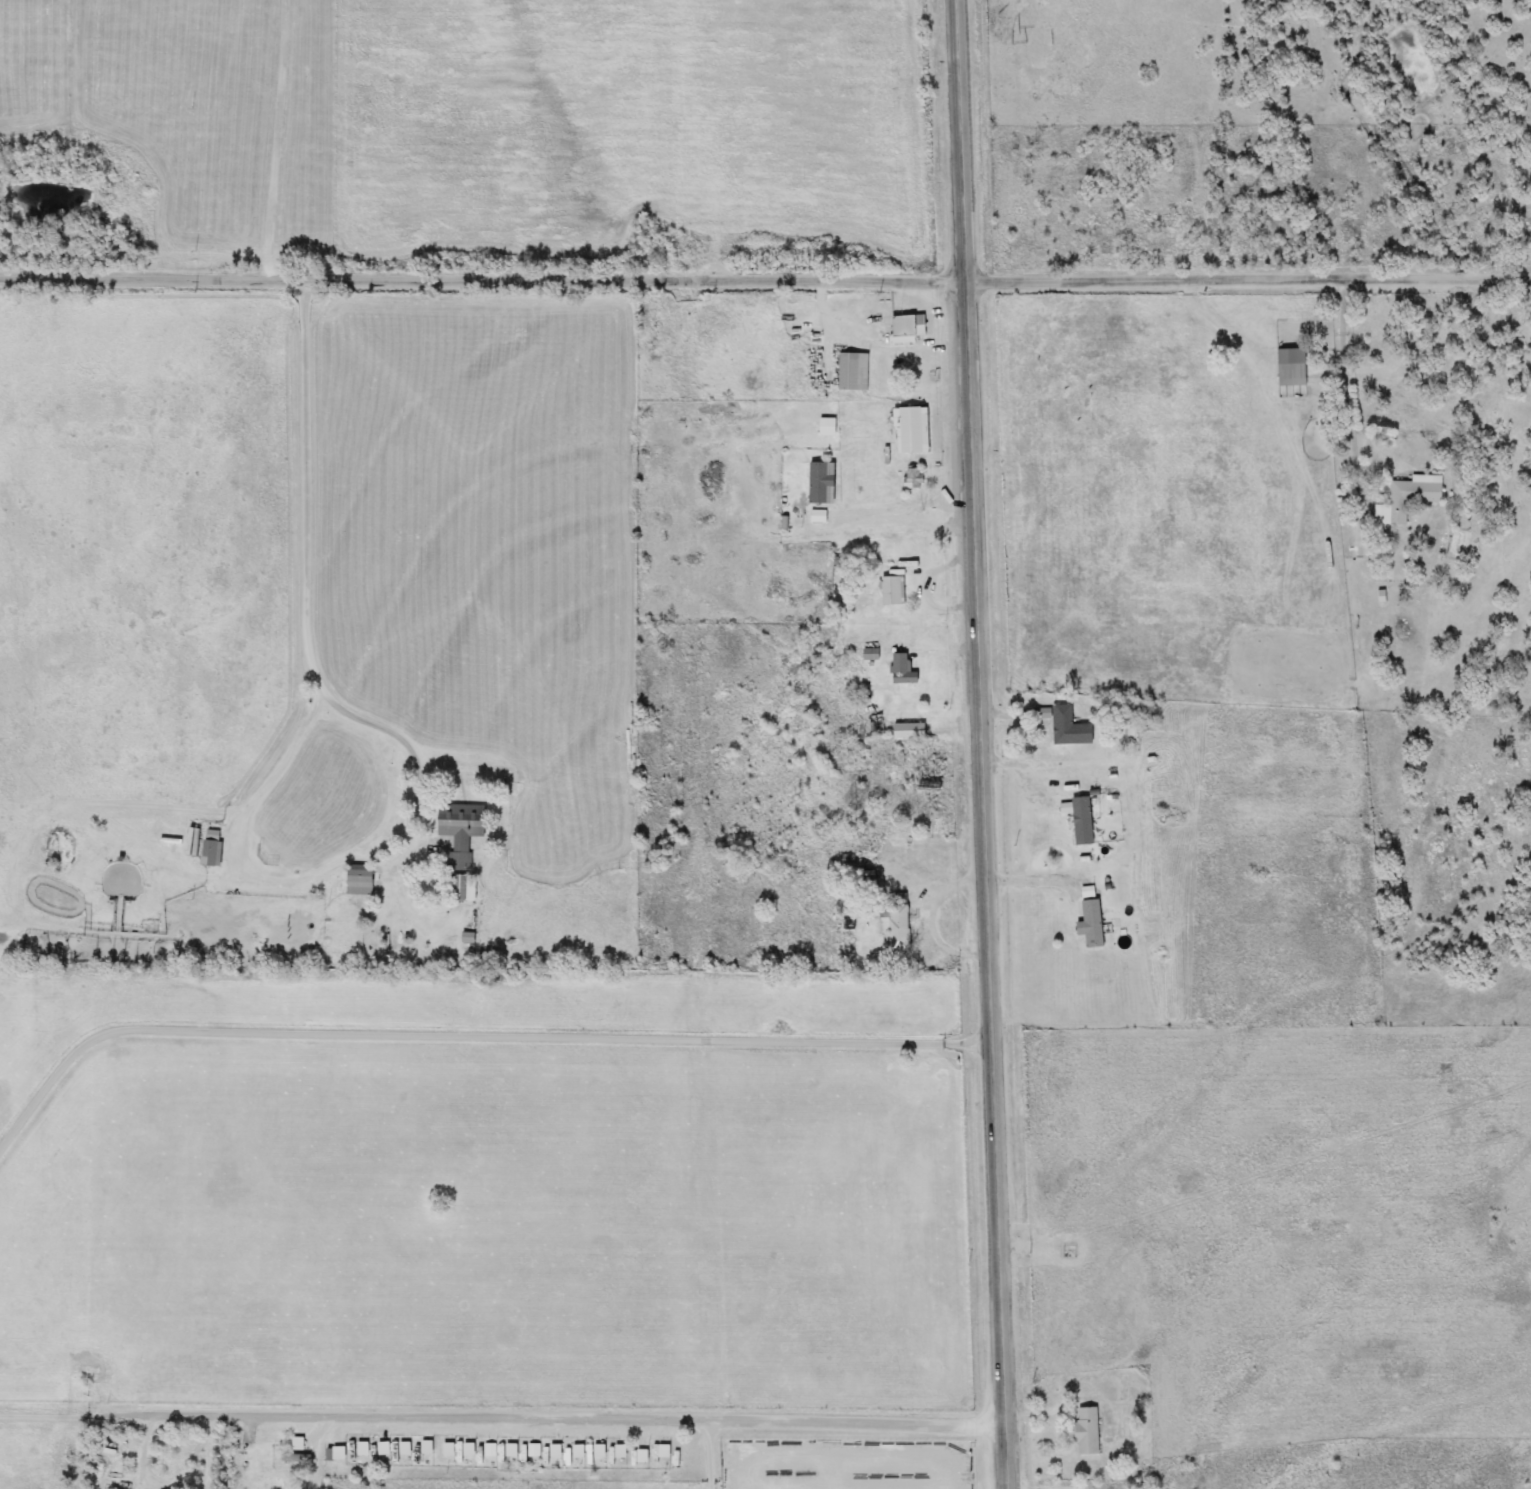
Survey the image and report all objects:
road: (280, 138)
road: (485, 278)
road: (1250, 282)
building: (906, 326)
building: (1288, 366)
building: (851, 371)
building: (824, 427)
building: (909, 430)
building: (819, 483)
building: (1407, 498)
building: (815, 516)
road: (910, 527)
building: (889, 590)
road: (946, 646)
building: (900, 670)
building: (1138, 706)
building: (874, 726)
building: (1066, 728)
building: (910, 731)
road: (393, 737)
road: (983, 744)
building: (1079, 821)
building: (463, 829)
building: (214, 842)
building: (362, 879)
building: (1090, 924)
building: (894, 927)
road: (470, 1033)
road: (108, 1414)
road: (613, 1414)
building: (1084, 1431)
road: (212, 1449)
road: (714, 1452)
building: (298, 1458)

